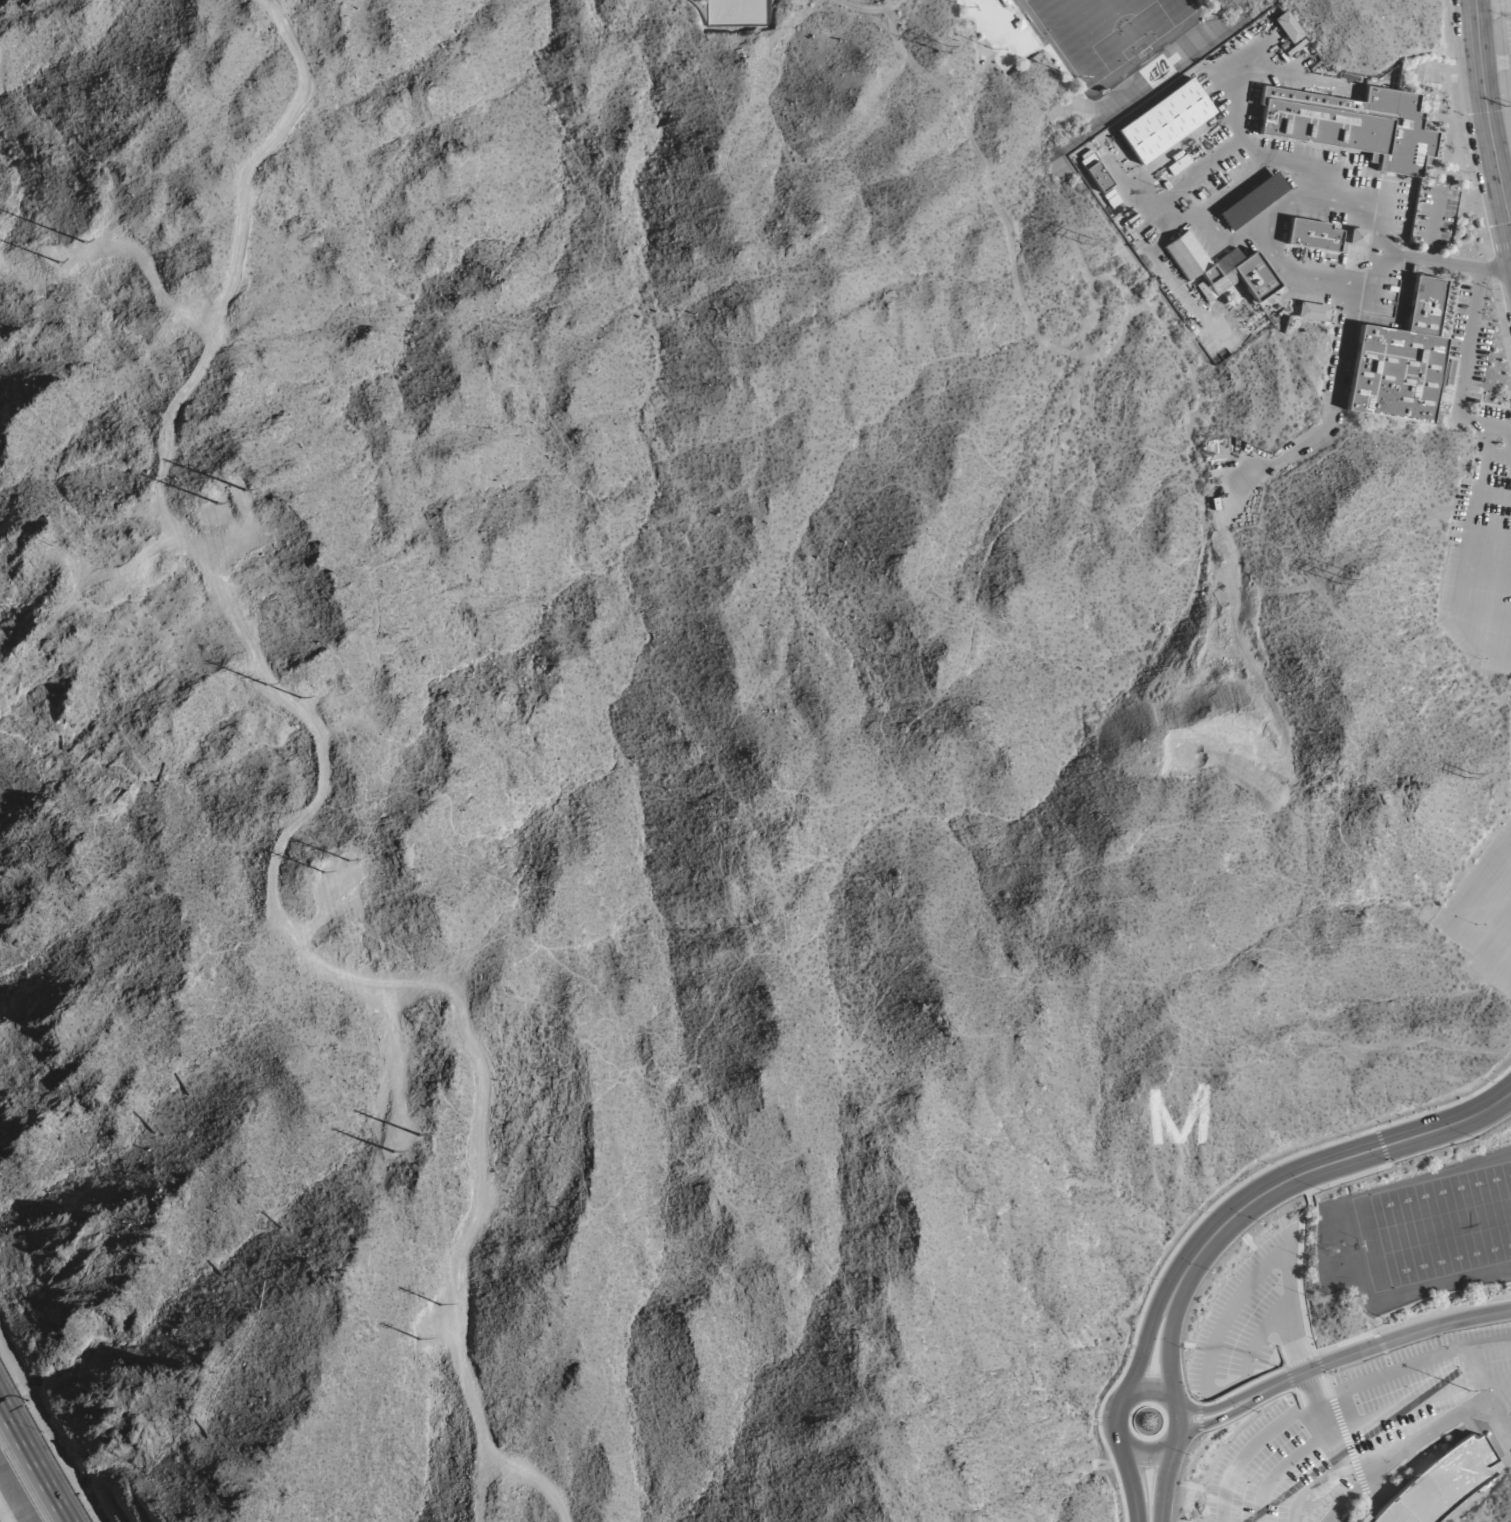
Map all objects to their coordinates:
road: (861, 11)
park: (738, 13)
building: (1289, 28)
park: (1106, 30)
power tower: (940, 49)
road: (1237, 85)
road: (1487, 117)
building: (1164, 121)
building: (1352, 126)
building: (1095, 172)
road: (1187, 176)
road: (1272, 211)
road: (1434, 226)
building: (1312, 235)
building: (1356, 237)
power tower: (1085, 243)
power tower: (31, 244)
power tower: (73, 244)
building: (1220, 270)
road: (1020, 295)
building: (1313, 312)
road: (1340, 354)
building: (1400, 360)
road: (1507, 430)
road: (1484, 456)
power tower: (225, 473)
road: (1495, 494)
power tower: (195, 497)
road: (1492, 532)
road: (1489, 572)
power tower: (1344, 578)
road: (1486, 610)
power tower: (241, 659)
power tower: (280, 663)
power tower: (1464, 776)
road: (307, 810)
power tower: (338, 849)
power tower: (301, 871)
road: (1458, 916)
power tower: (423, 1140)
road: (1331, 1163)
power tower: (391, 1191)
park: (1436, 1227)
road: (1300, 1287)
power tower: (438, 1298)
road: (1238, 1301)
parking lot: (1248, 1318)
road: (1180, 1330)
road: (1147, 1331)
road: (1167, 1337)
power tower: (407, 1343)
road: (1374, 1346)
road: (1405, 1366)
road: (1308, 1383)
road: (1327, 1387)
road: (1483, 1388)
road: (1129, 1391)
road: (1431, 1396)
road: (1209, 1409)
road: (1498, 1418)
road: (1324, 1421)
road: (1210, 1422)
parking lot: (1362, 1429)
road: (1428, 1432)
road: (1262, 1438)
road: (1348, 1446)
road: (34, 1460)
road: (1290, 1461)
road: (1368, 1478)
road: (1130, 1481)
road: (1163, 1483)
building: (1439, 1484)
road: (1312, 1491)
road: (1354, 1508)

